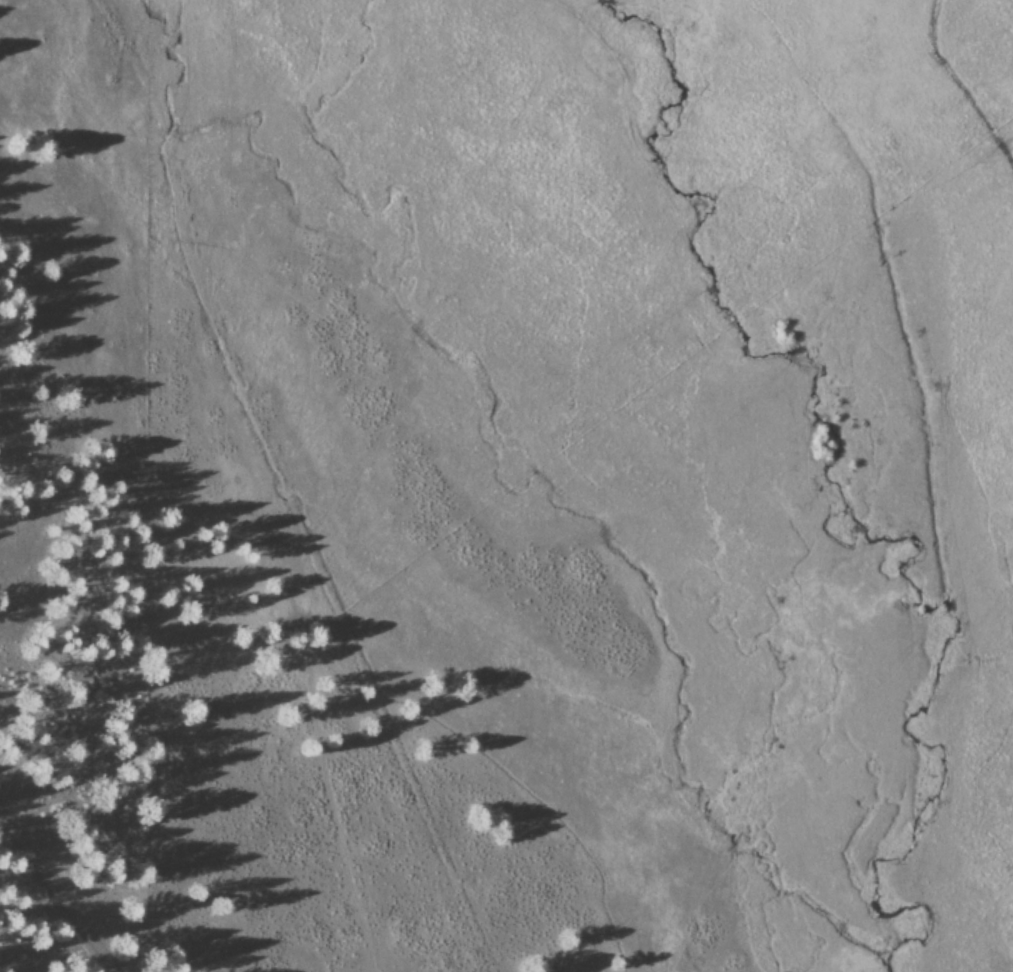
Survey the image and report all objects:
road: (68, 867)

